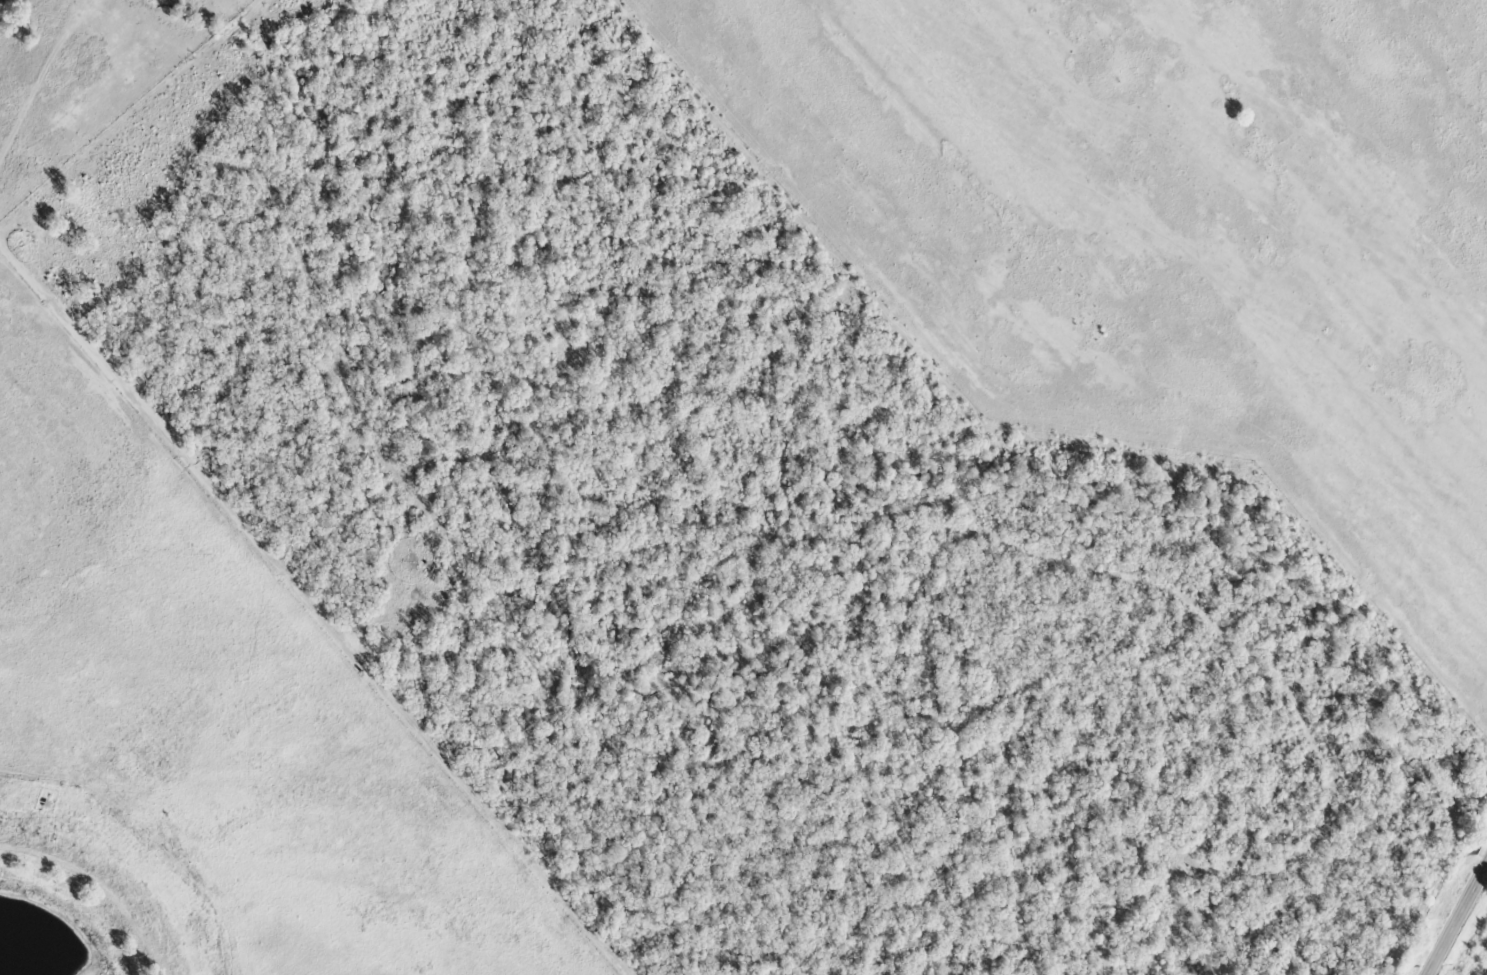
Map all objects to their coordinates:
road: (1456, 917)

